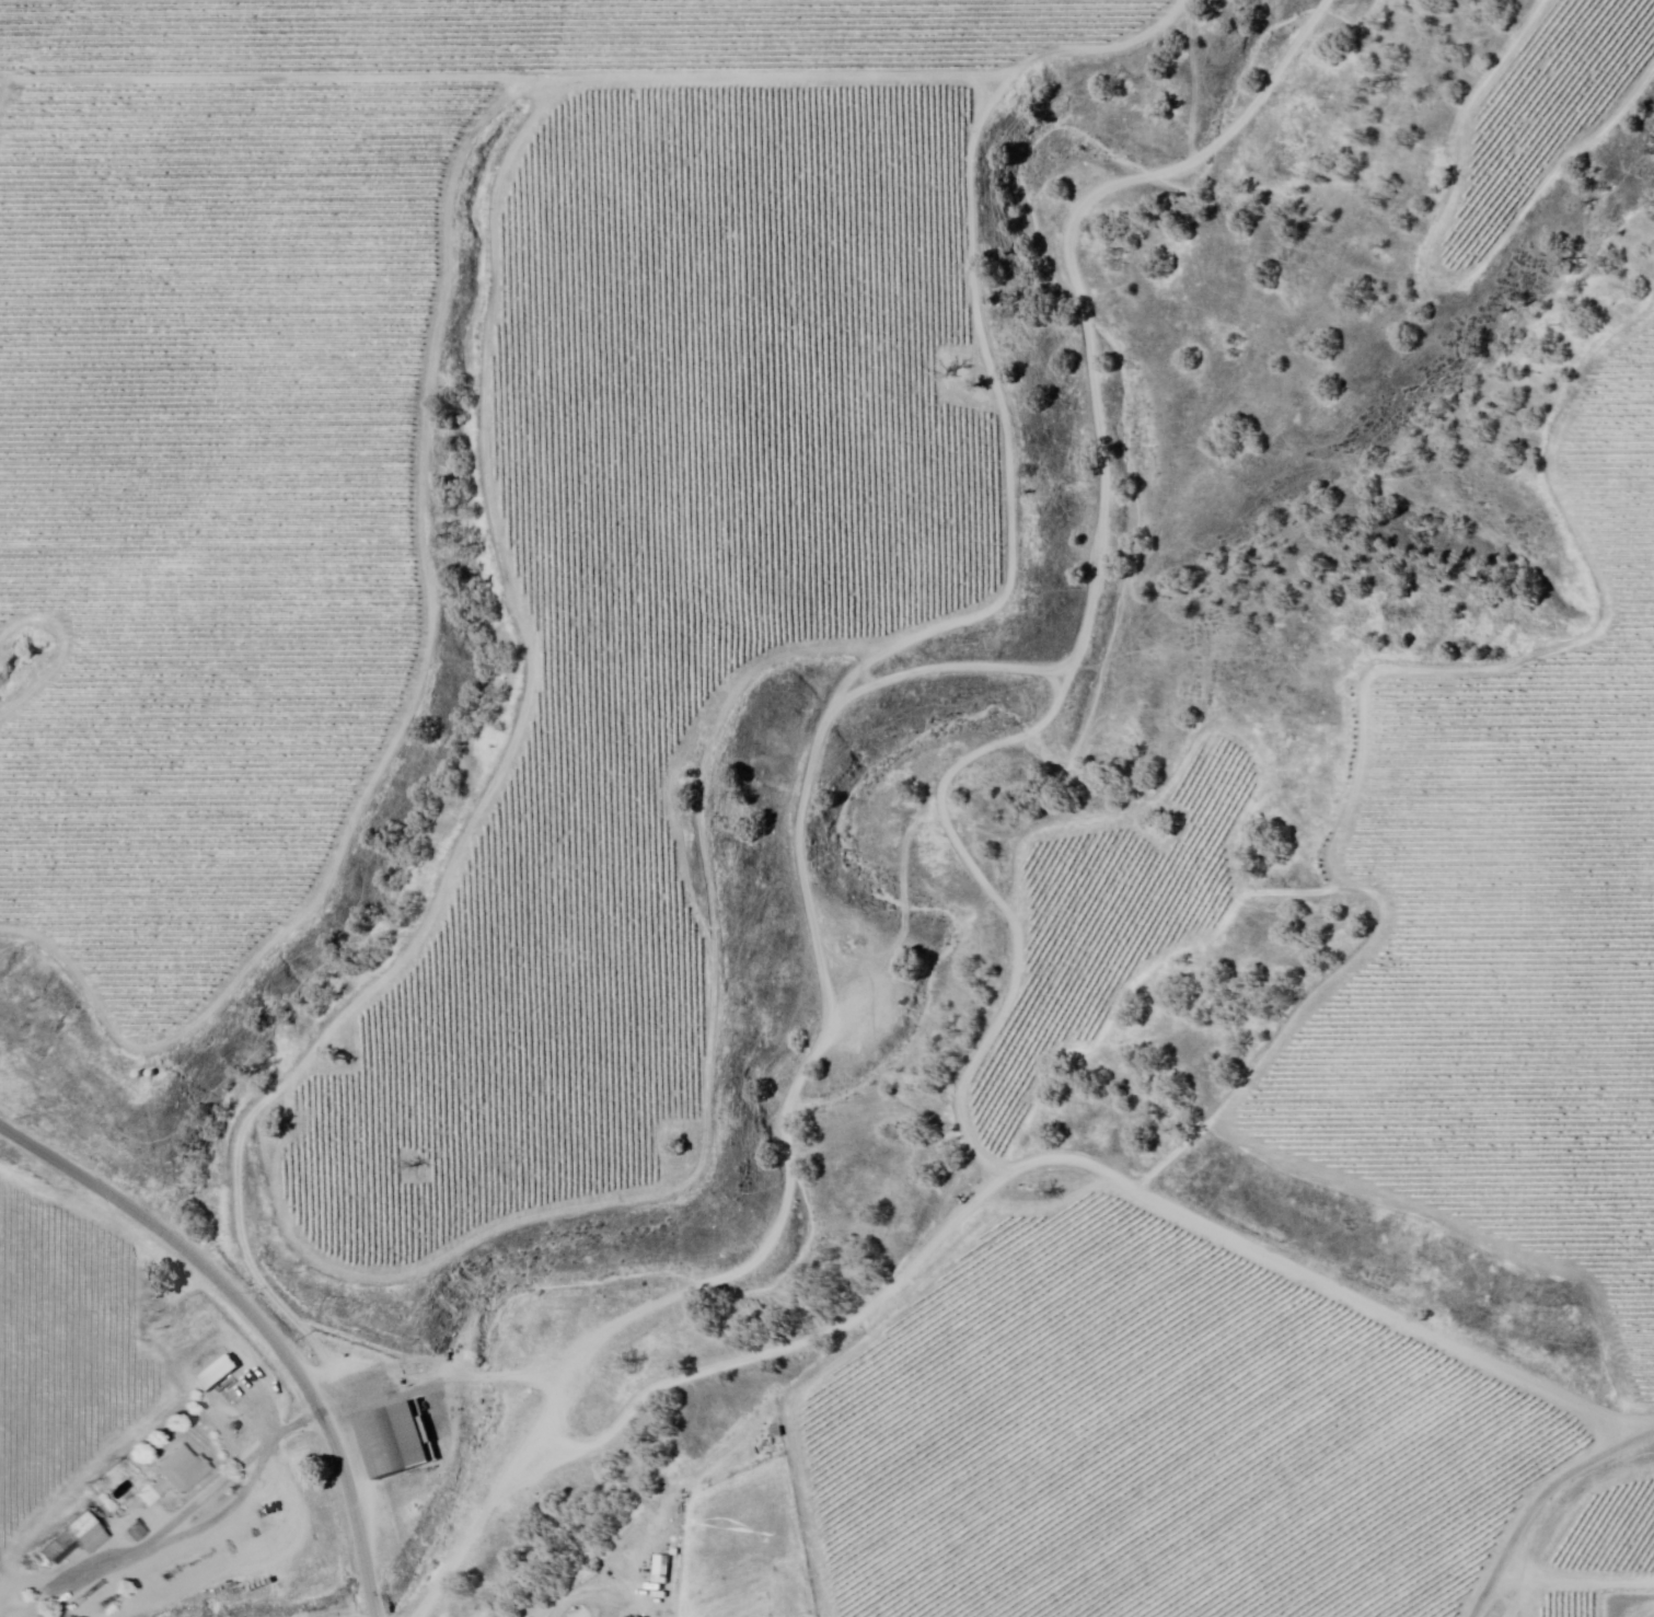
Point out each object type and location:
road: (254, 1321)
crop: (62, 1386)
building: (398, 1440)
crop: (1189, 1448)
building: (175, 1477)
building: (136, 1533)
building: (83, 1534)
building: (53, 1557)
road: (578, 1610)

